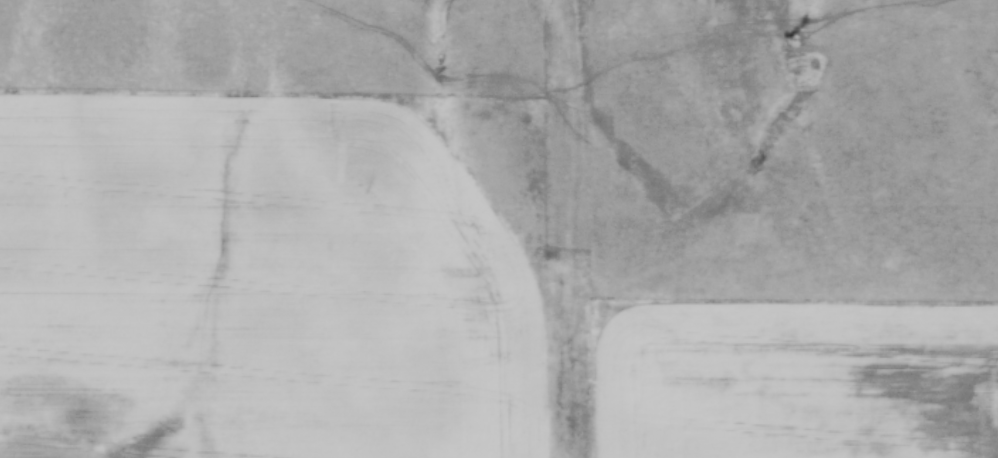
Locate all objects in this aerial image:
road: (580, 229)

